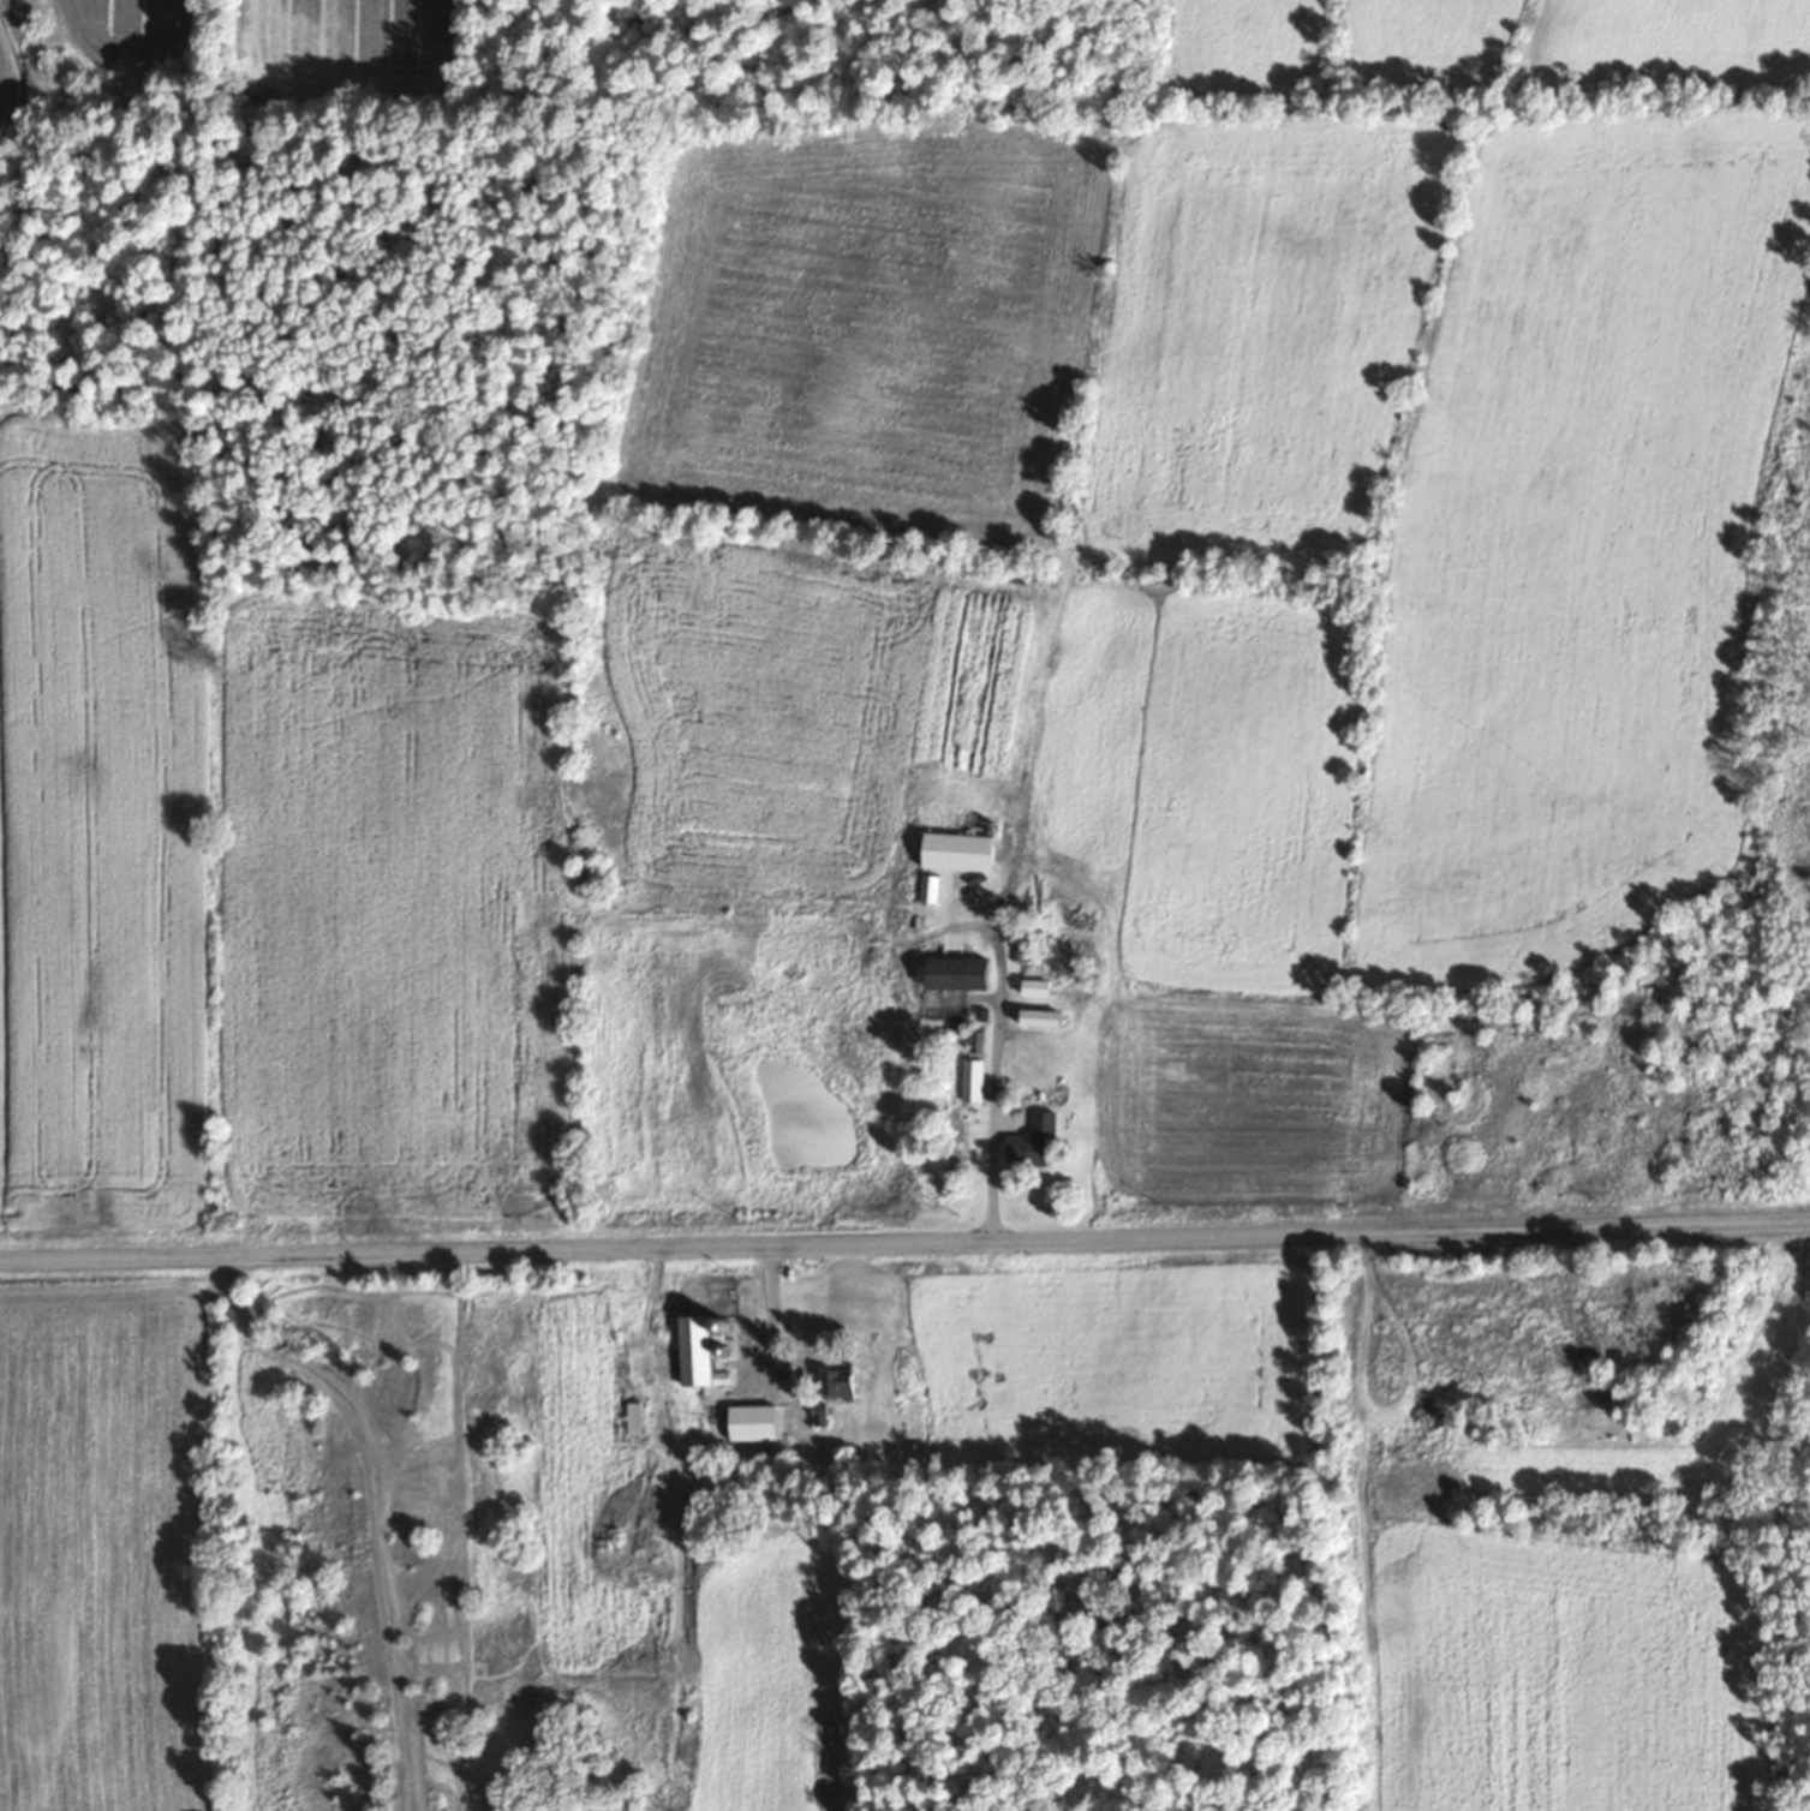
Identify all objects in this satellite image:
building: (961, 850)
building: (928, 887)
building: (963, 972)
building: (1035, 986)
building: (1044, 1017)
building: (970, 1080)
building: (1057, 1114)
building: (1020, 1142)
road: (904, 1245)
building: (700, 1351)
building: (842, 1385)
building: (633, 1418)
building: (749, 1422)

